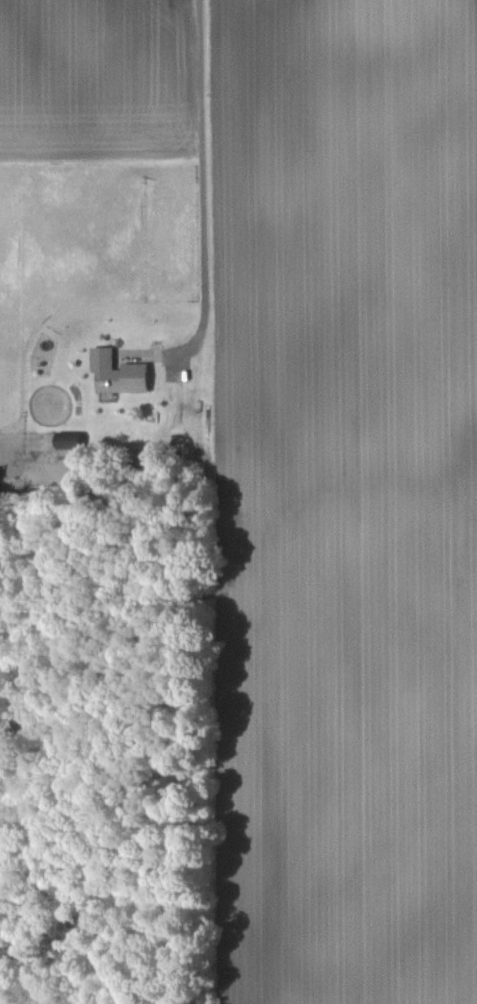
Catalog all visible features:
road: (201, 182)
building: (117, 373)
building: (68, 442)

